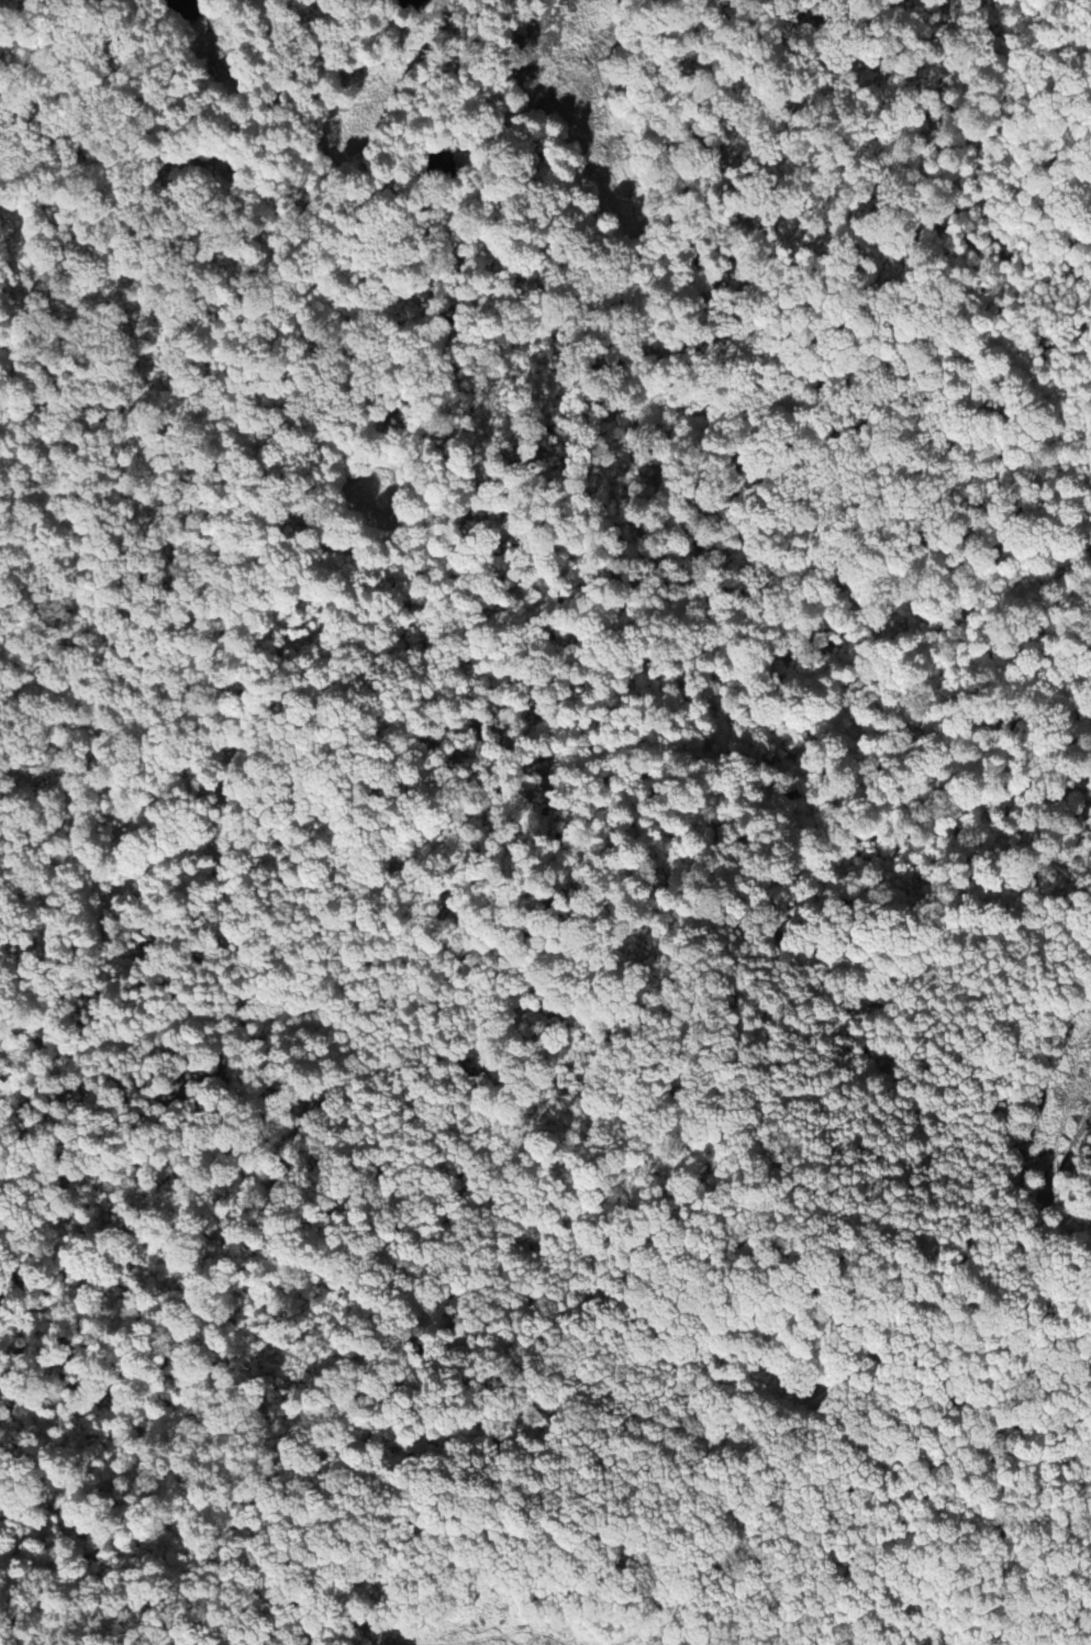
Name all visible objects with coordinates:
road: (2, 1055)

